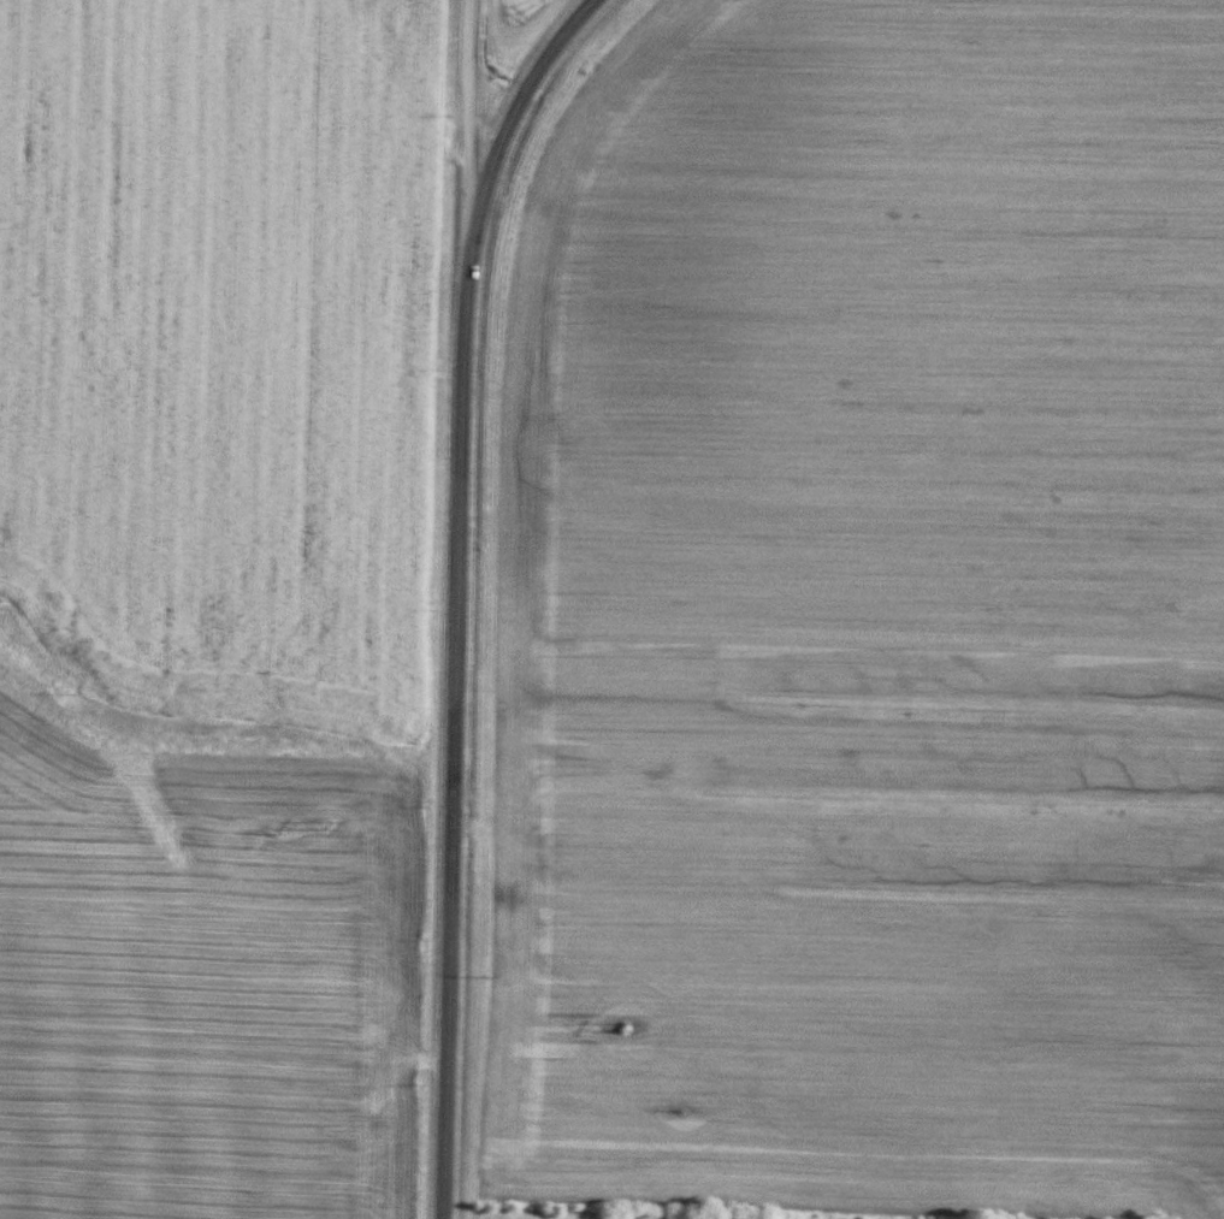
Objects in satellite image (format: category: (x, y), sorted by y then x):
road: (471, 118)
road: (455, 593)

